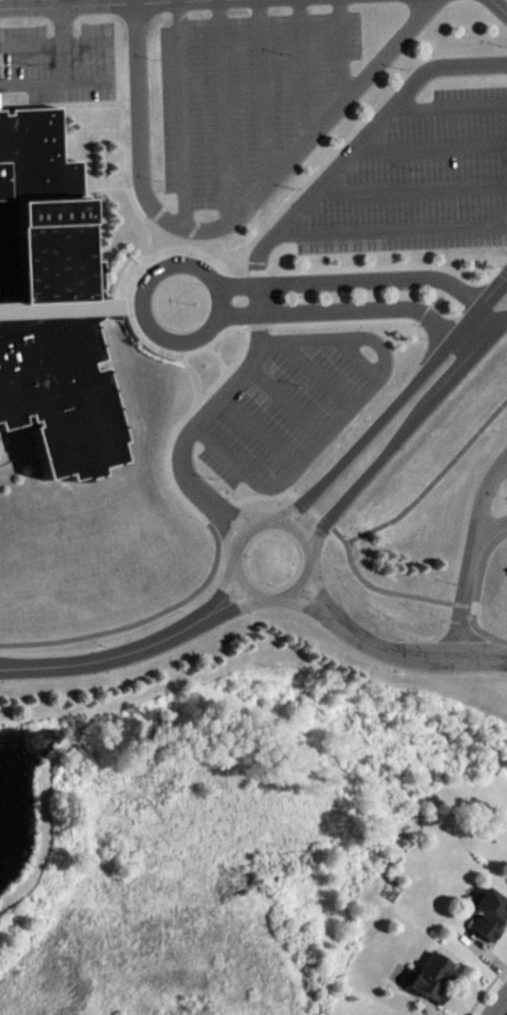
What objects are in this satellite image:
road: (504, 2)
road: (39, 5)
road: (41, 10)
road: (58, 21)
road: (84, 30)
road: (30, 33)
parking lot: (60, 53)
road: (337, 53)
road: (85, 73)
road: (298, 73)
road: (51, 74)
road: (258, 94)
road: (128, 98)
road: (447, 99)
road: (218, 113)
road: (178, 117)
road: (124, 126)
road: (90, 127)
road: (355, 137)
road: (428, 138)
road: (82, 151)
parking lot: (423, 172)
road: (101, 173)
road: (409, 180)
road: (294, 187)
road: (390, 219)
road: (225, 223)
road: (328, 245)
road: (413, 271)
road: (365, 278)
building: (49, 293)
road: (120, 296)
road: (126, 296)
road: (141, 302)
road: (352, 308)
road: (402, 311)
road: (257, 312)
road: (218, 350)
road: (355, 355)
road: (384, 363)
road: (194, 371)
road: (314, 371)
road: (286, 399)
road: (399, 400)
parking lot: (282, 406)
road: (184, 418)
road: (407, 426)
road: (260, 429)
road: (186, 466)
road: (265, 494)
road: (214, 496)
road: (305, 501)
road: (240, 506)
road: (316, 509)
road: (205, 511)
road: (383, 515)
road: (227, 518)
road: (327, 518)
road: (488, 518)
road: (340, 525)
road: (238, 533)
road: (470, 545)
road: (482, 551)
road: (272, 578)
road: (316, 581)
road: (224, 586)
road: (307, 593)
road: (461, 595)
road: (233, 597)
road: (472, 597)
road: (473, 597)
road: (140, 618)
road: (483, 624)
road: (103, 648)
road: (416, 649)
building: (488, 903)
road: (485, 943)
building: (432, 967)
road: (485, 984)
road: (432, 1004)
road: (499, 1006)
road: (466, 1013)

